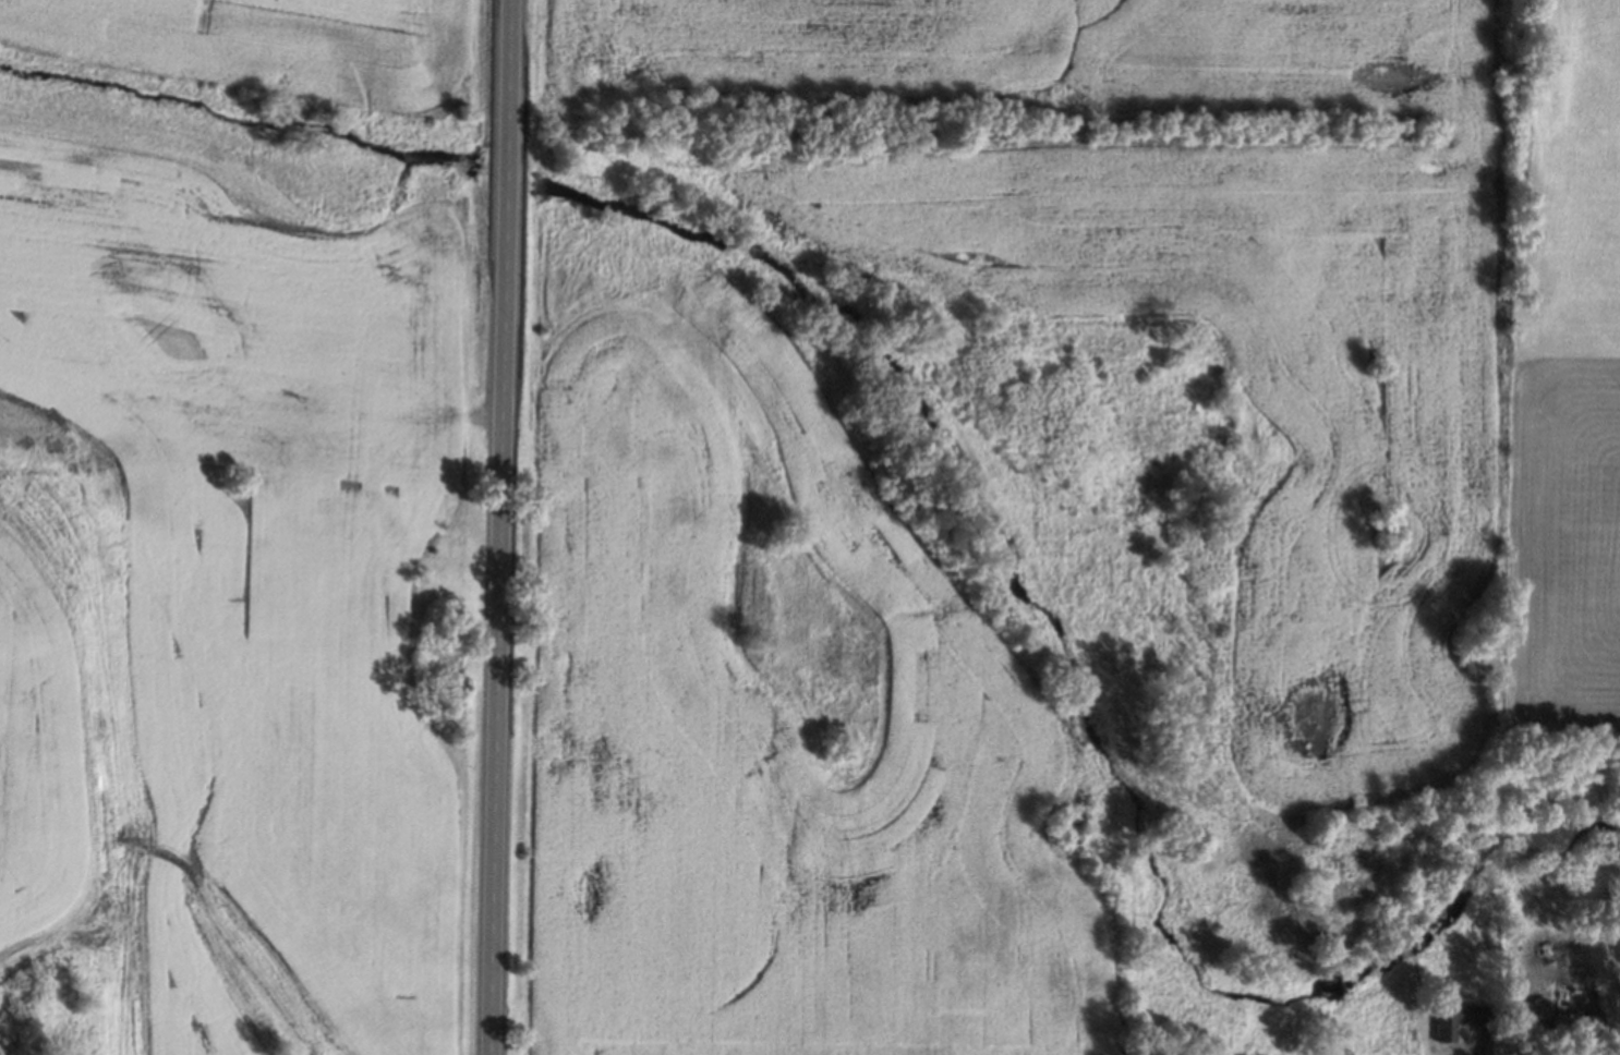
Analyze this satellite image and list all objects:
road: (498, 526)
building: (1454, 1019)

